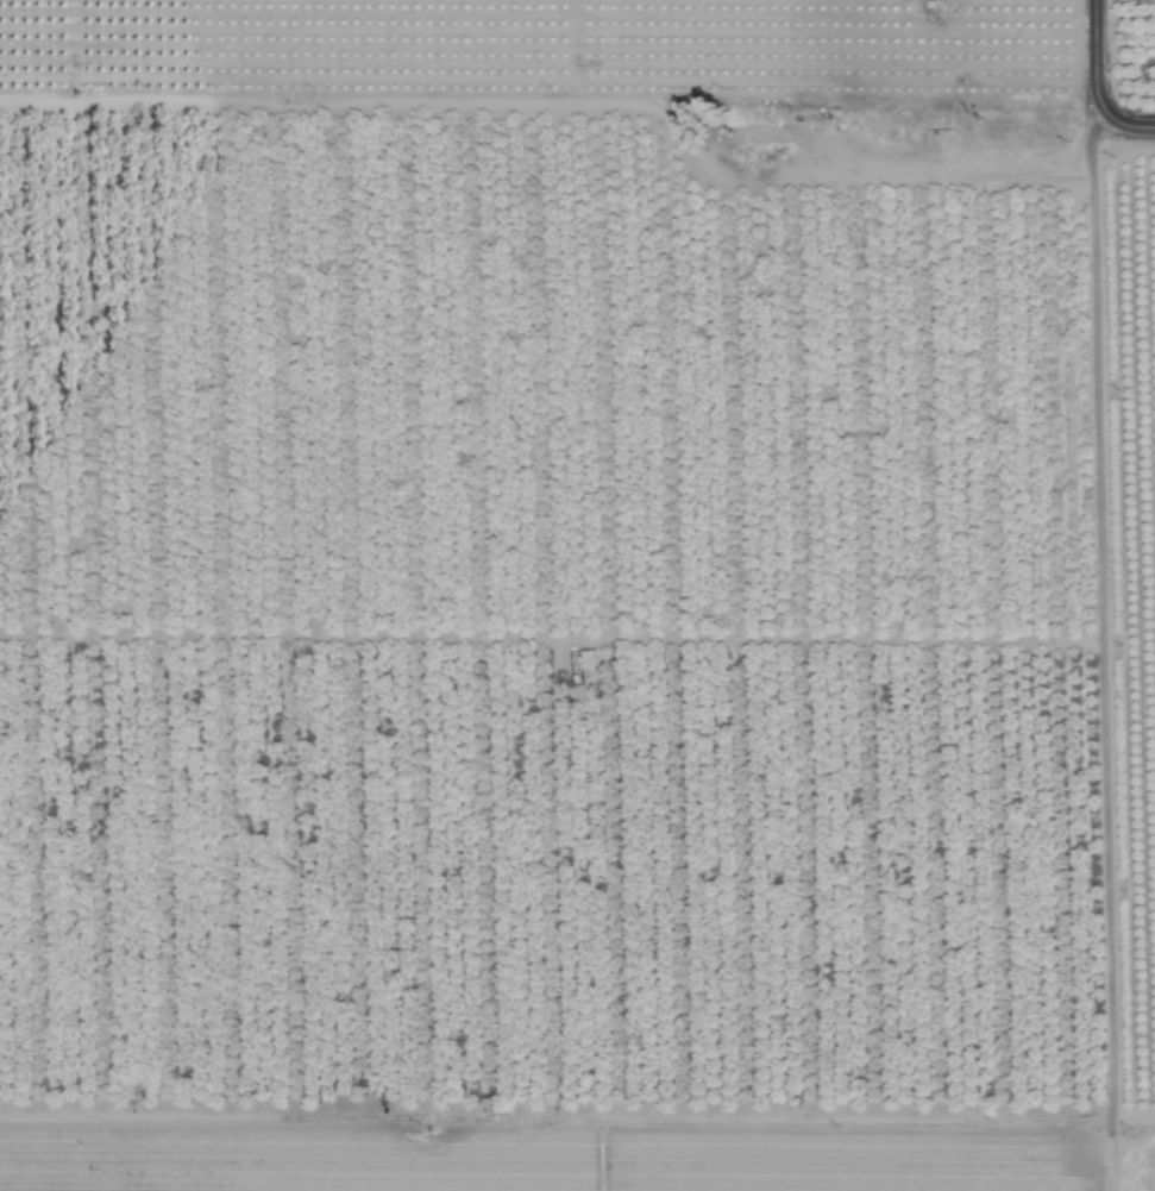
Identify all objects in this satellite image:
road: (550, 106)
road: (1125, 124)
building: (940, 142)
building: (985, 142)
road: (859, 174)
road: (1101, 595)

